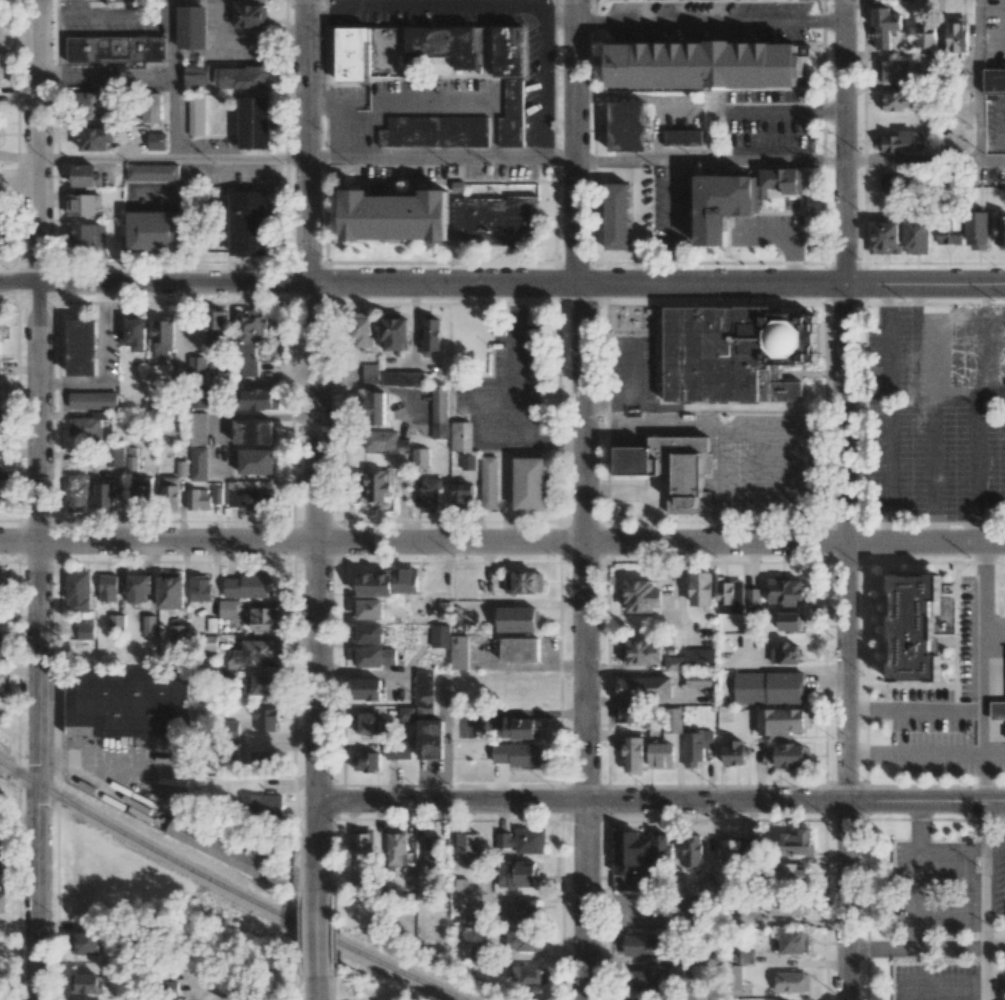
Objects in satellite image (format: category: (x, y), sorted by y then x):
road: (497, 4)
road: (367, 5)
road: (515, 9)
road: (321, 10)
building: (250, 15)
road: (560, 21)
road: (709, 22)
building: (885, 26)
building: (192, 27)
building: (926, 34)
building: (958, 34)
building: (116, 49)
building: (400, 49)
building: (705, 65)
building: (1, 70)
building: (894, 71)
building: (196, 76)
building: (242, 77)
road: (171, 79)
road: (978, 80)
building: (994, 80)
building: (511, 85)
building: (896, 100)
road: (420, 101)
building: (94, 105)
building: (151, 107)
road: (752, 111)
building: (196, 114)
building: (255, 122)
building: (630, 125)
building: (435, 131)
building: (682, 137)
building: (96, 138)
building: (156, 141)
building: (902, 141)
road: (18, 157)
road: (239, 157)
road: (440, 157)
road: (104, 158)
road: (709, 159)
road: (911, 159)
road: (992, 160)
building: (152, 172)
building: (85, 176)
parking lot: (988, 177)
building: (782, 180)
building: (889, 181)
building: (86, 204)
building: (722, 205)
building: (398, 215)
building: (619, 216)
building: (496, 221)
building: (249, 222)
road: (672, 222)
building: (977, 229)
building: (2, 230)
building: (1000, 230)
building: (156, 231)
building: (949, 231)
building: (916, 236)
building: (87, 237)
building: (885, 237)
road: (37, 269)
road: (309, 270)
road: (502, 284)
building: (216, 327)
building: (361, 331)
building: (394, 333)
building: (134, 334)
building: (934, 335)
building: (431, 336)
building: (162, 337)
building: (250, 340)
building: (737, 351)
building: (77, 354)
building: (197, 367)
building: (370, 372)
building: (402, 378)
parking lot: (503, 385)
road: (517, 397)
building: (199, 398)
building: (258, 399)
building: (93, 400)
building: (375, 408)
road: (715, 408)
building: (439, 412)
parking lot: (935, 418)
building: (0, 423)
building: (198, 428)
building: (253, 431)
building: (461, 436)
building: (385, 440)
building: (115, 456)
building: (420, 457)
building: (132, 459)
building: (256, 461)
building: (0, 462)
building: (468, 462)
building: (198, 463)
building: (182, 468)
building: (488, 482)
building: (532, 483)
building: (691, 483)
building: (376, 485)
building: (142, 488)
building: (76, 493)
building: (173, 493)
building: (430, 493)
building: (104, 494)
building: (217, 495)
building: (461, 496)
building: (0, 498)
building: (252, 498)
building: (198, 499)
road: (584, 499)
road: (845, 500)
road: (19, 539)
road: (177, 540)
road: (660, 541)
building: (402, 580)
building: (5, 582)
building: (524, 582)
building: (374, 584)
building: (248, 586)
building: (200, 587)
building: (108, 588)
building: (139, 588)
building: (701, 588)
building: (79, 590)
building: (171, 590)
building: (785, 590)
building: (641, 596)
building: (752, 596)
building: (730, 597)
building: (228, 608)
building: (367, 609)
building: (263, 619)
building: (516, 619)
building: (788, 620)
building: (117, 623)
building: (149, 625)
building: (85, 629)
road: (994, 630)
building: (366, 632)
building: (179, 633)
building: (908, 633)
building: (440, 638)
building: (211, 643)
building: (3, 646)
building: (520, 649)
building: (459, 652)
building: (641, 652)
building: (257, 653)
building: (786, 653)
building: (373, 656)
building: (699, 657)
building: (674, 663)
road: (316, 670)
road: (984, 671)
building: (699, 679)
building: (4, 683)
building: (645, 687)
building: (769, 687)
building: (367, 689)
building: (424, 692)
building: (126, 705)
building: (997, 710)
building: (406, 713)
building: (627, 714)
road: (915, 714)
building: (266, 719)
building: (782, 721)
building: (367, 723)
building: (519, 727)
parking lot: (929, 735)
road: (448, 736)
building: (1002, 737)
building: (430, 739)
building: (696, 746)
building: (398, 750)
building: (734, 752)
building: (516, 754)
building: (633, 754)
building: (661, 755)
building: (789, 755)
building: (266, 758)
road: (915, 758)
road: (994, 759)
building: (366, 762)
parking lot: (1000, 762)
road: (39, 770)
road: (661, 800)
building: (262, 805)
building: (1, 830)
building: (504, 839)
building: (530, 840)
building: (796, 842)
building: (752, 844)
road: (317, 845)
building: (363, 845)
building: (220, 847)
building: (396, 847)
building: (469, 847)
building: (661, 848)
building: (693, 850)
building: (731, 850)
building: (432, 852)
building: (3, 863)
building: (632, 864)
building: (792, 872)
building: (517, 873)
road: (917, 876)
road: (984, 876)
building: (459, 886)
railway: (226, 889)
parking lot: (933, 889)
building: (2, 902)
building: (787, 906)
building: (522, 909)
building: (476, 919)
road: (317, 934)
building: (521, 941)
building: (793, 941)
building: (84, 943)
building: (641, 945)
road: (915, 951)
building: (481, 953)
building: (676, 970)
building: (535, 975)
road: (985, 975)
building: (644, 979)
building: (791, 981)
building: (85, 983)
road: (189, 983)
parking lot: (934, 984)
road: (317, 989)
road: (942, 992)

